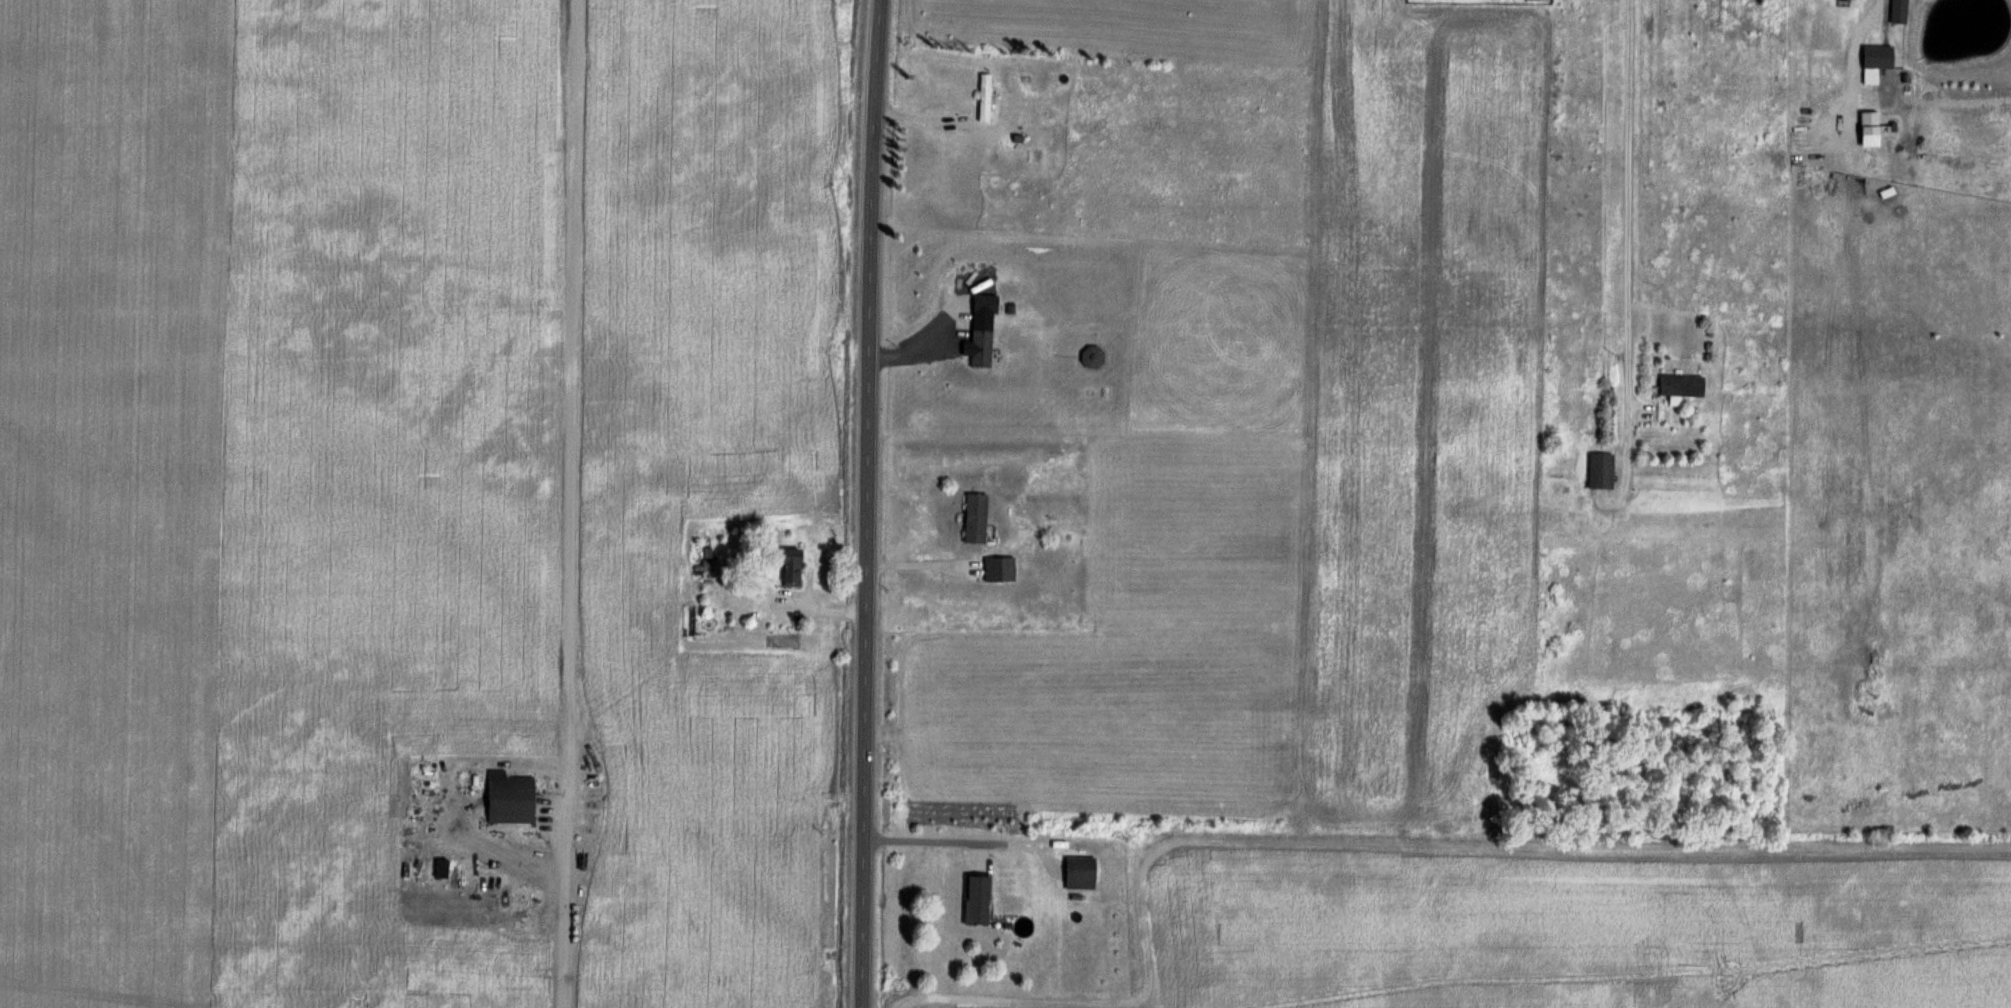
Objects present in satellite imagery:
building: (1844, 2)
building: (1878, 56)
building: (985, 96)
road: (1625, 205)
building: (985, 302)
building: (981, 347)
building: (1682, 384)
building: (1601, 469)
road: (866, 503)
building: (975, 517)
building: (791, 566)
building: (999, 568)
building: (511, 798)
road: (958, 841)
building: (441, 867)
building: (1079, 872)
building: (977, 899)

